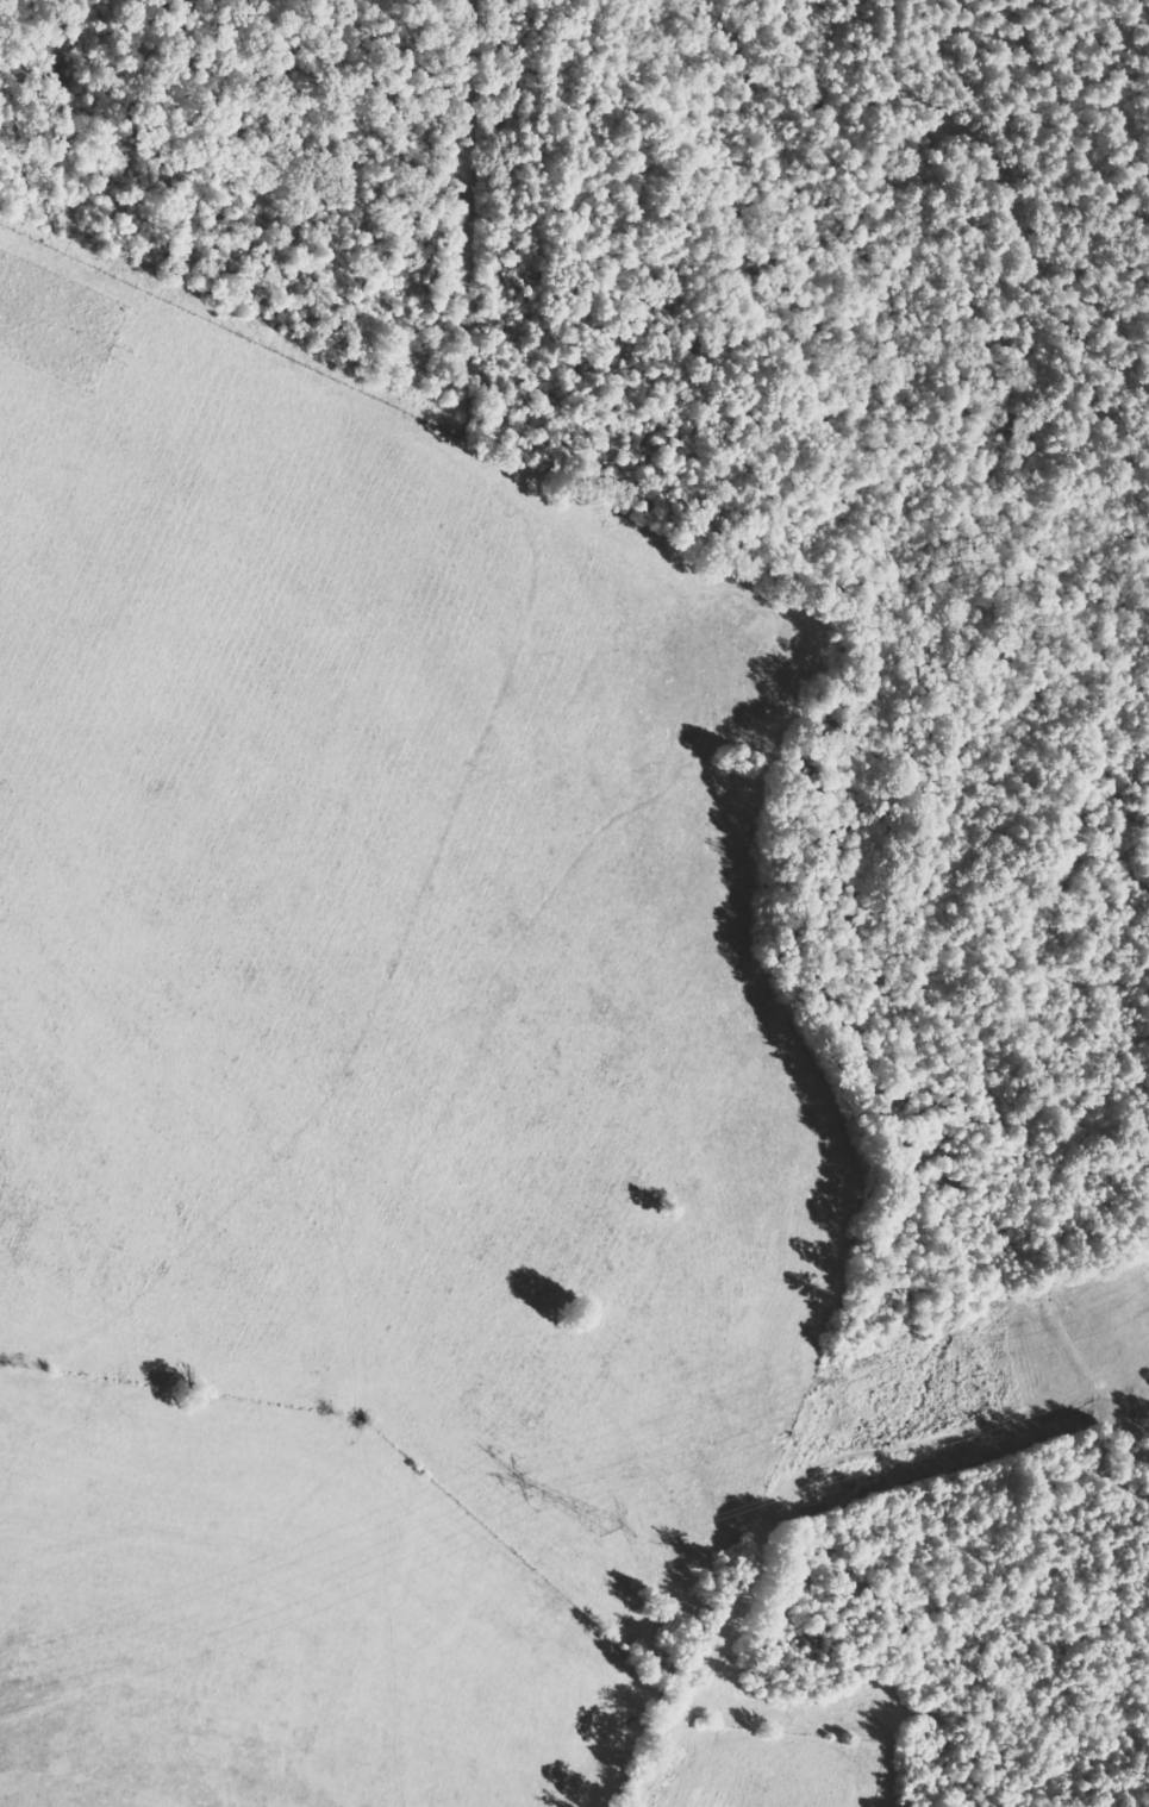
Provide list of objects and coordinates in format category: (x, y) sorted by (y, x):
power tower: (600, 1522)

